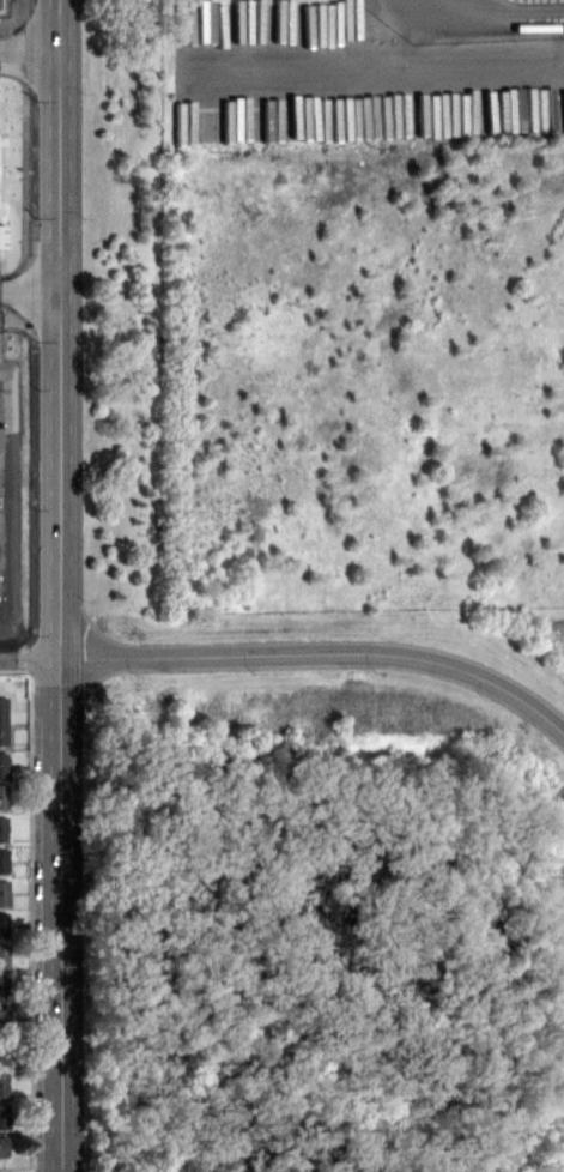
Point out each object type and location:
road: (400, 32)
road: (29, 47)
road: (375, 66)
building: (1, 236)
road: (29, 288)
road: (59, 585)
road: (322, 658)
road: (30, 659)
building: (2, 720)
building: (4, 763)
building: (4, 796)
building: (2, 827)
building: (4, 860)
building: (4, 892)
building: (4, 924)
building: (2, 955)
building: (2, 987)
building: (4, 1017)
building: (4, 1051)
building: (4, 1083)
building: (4, 1116)
building: (2, 1146)

